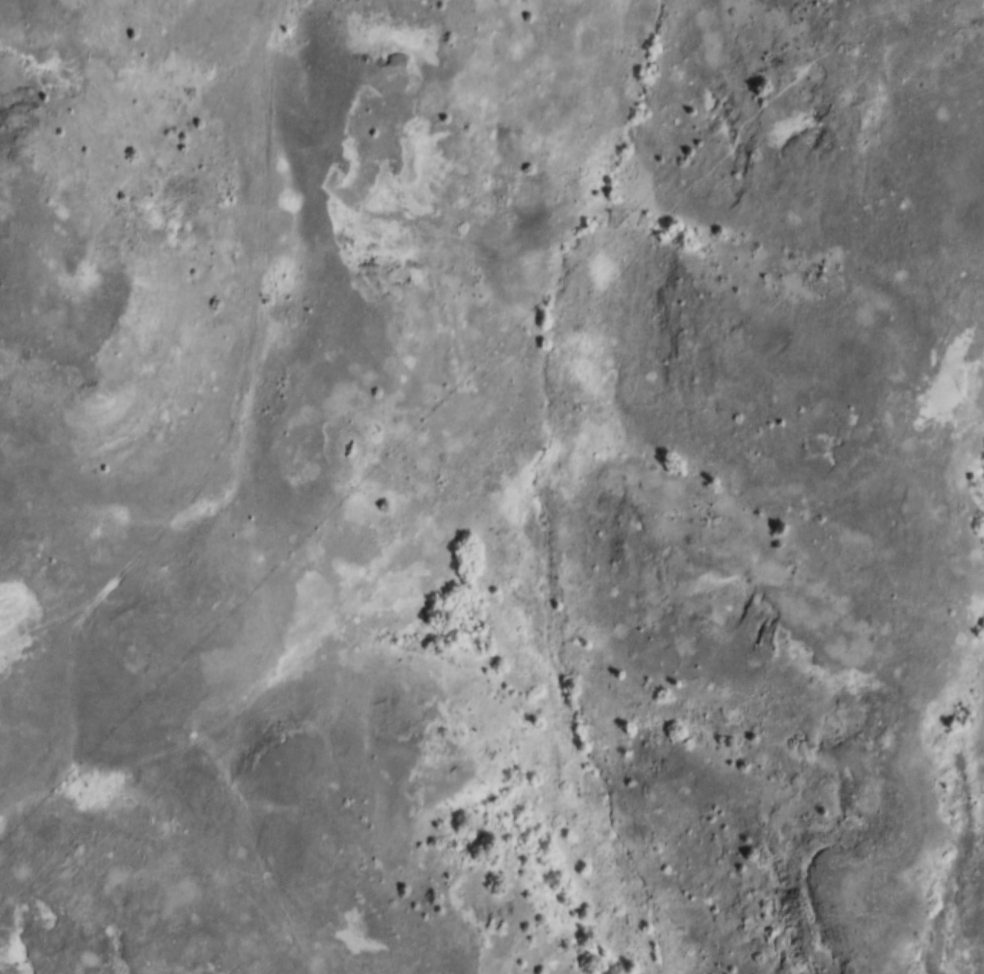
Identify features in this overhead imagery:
road: (231, 439)

